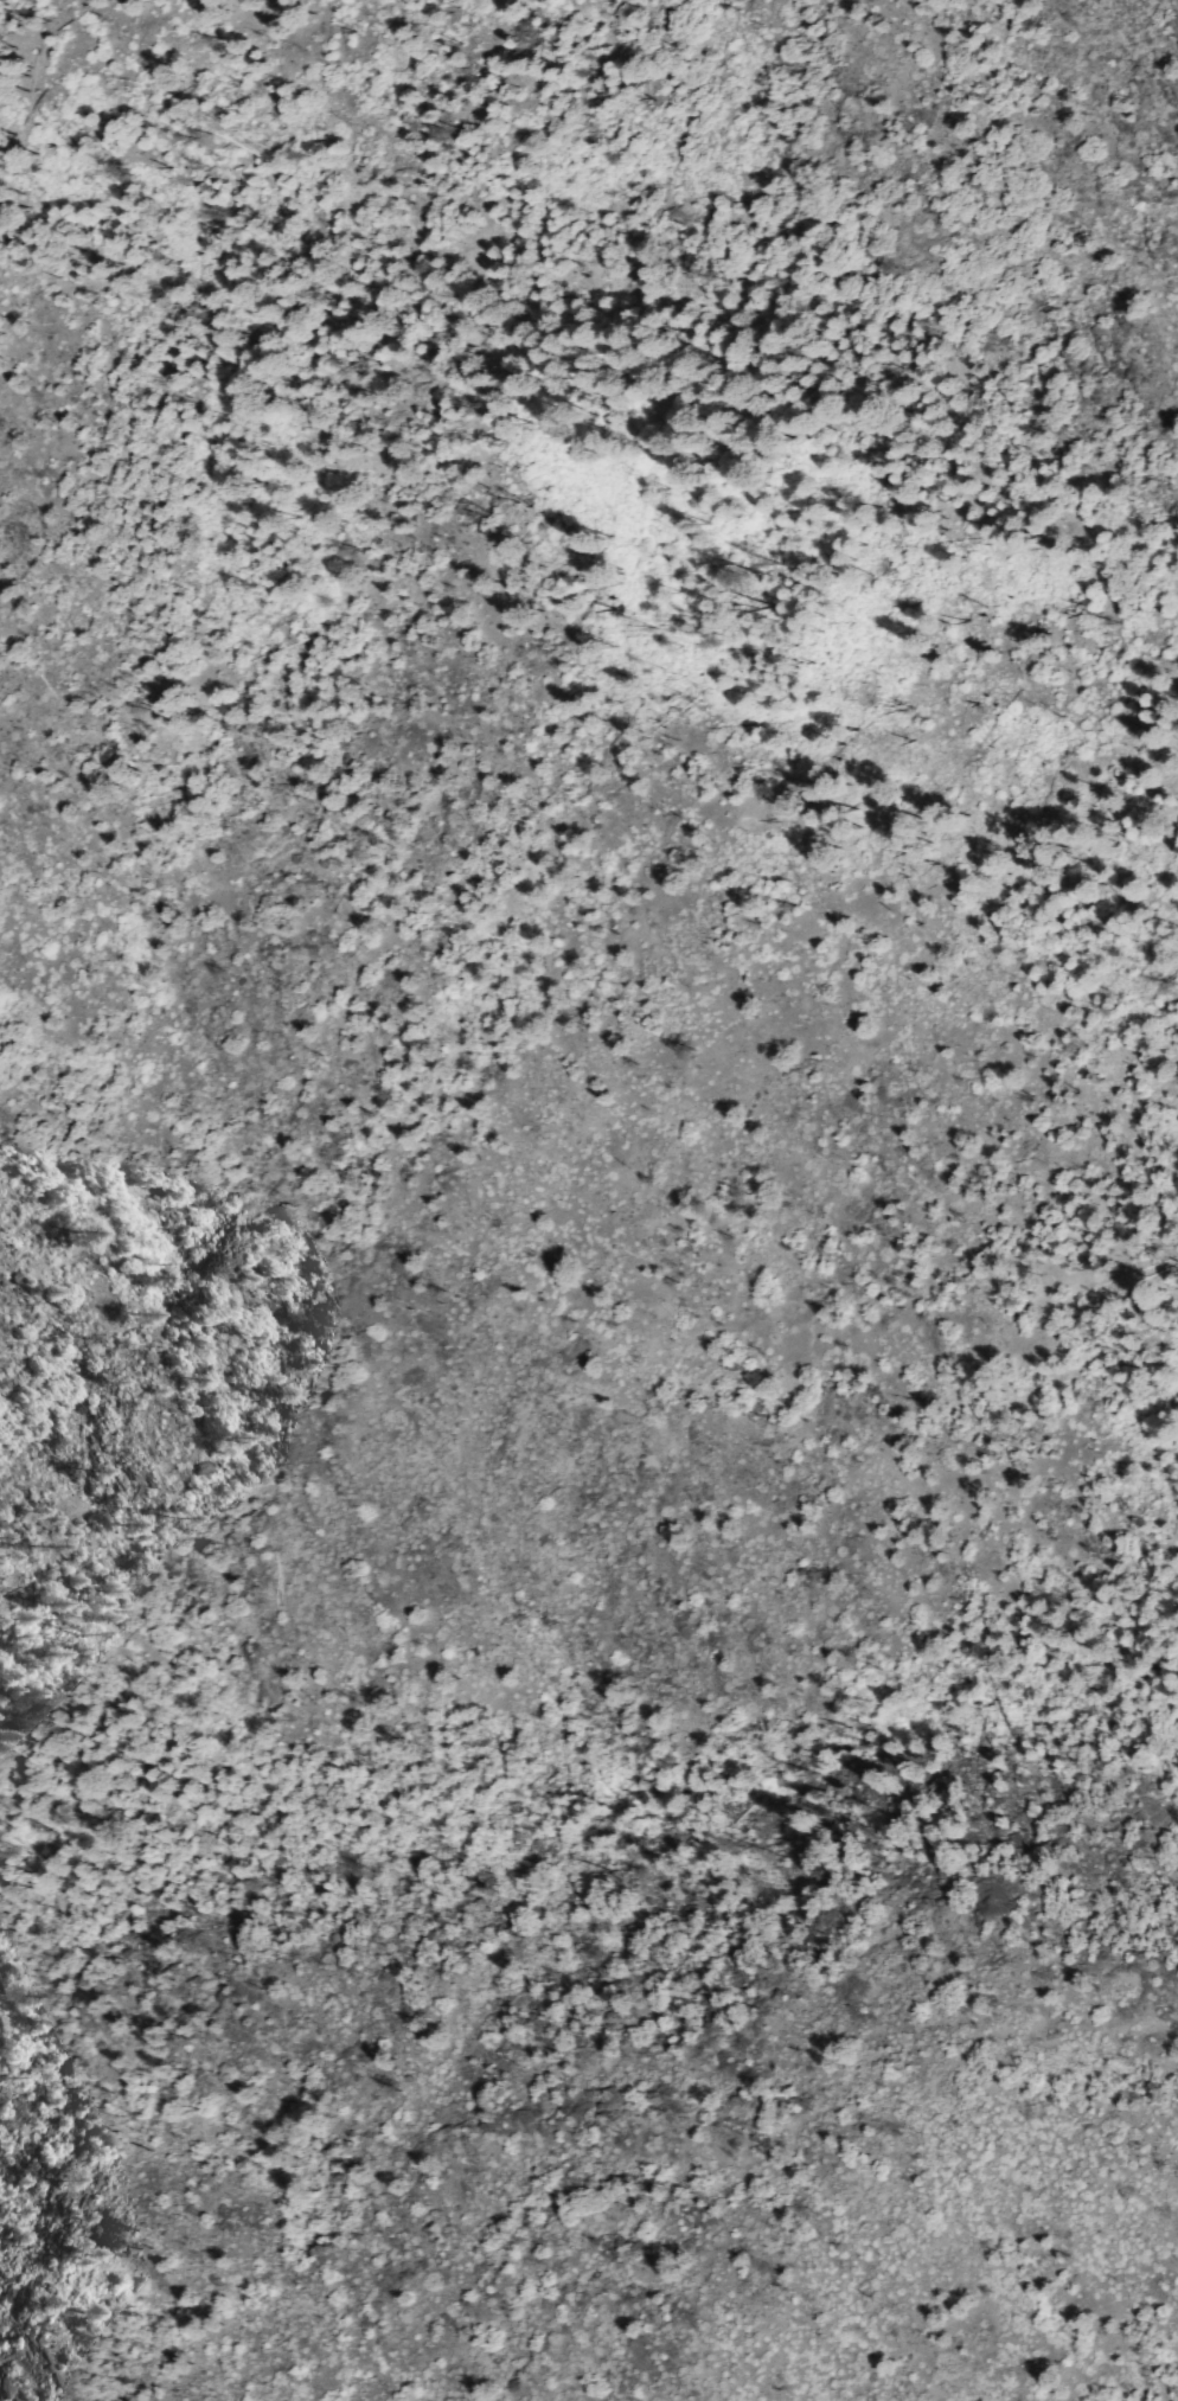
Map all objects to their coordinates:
airstrip: (2, 2399)

